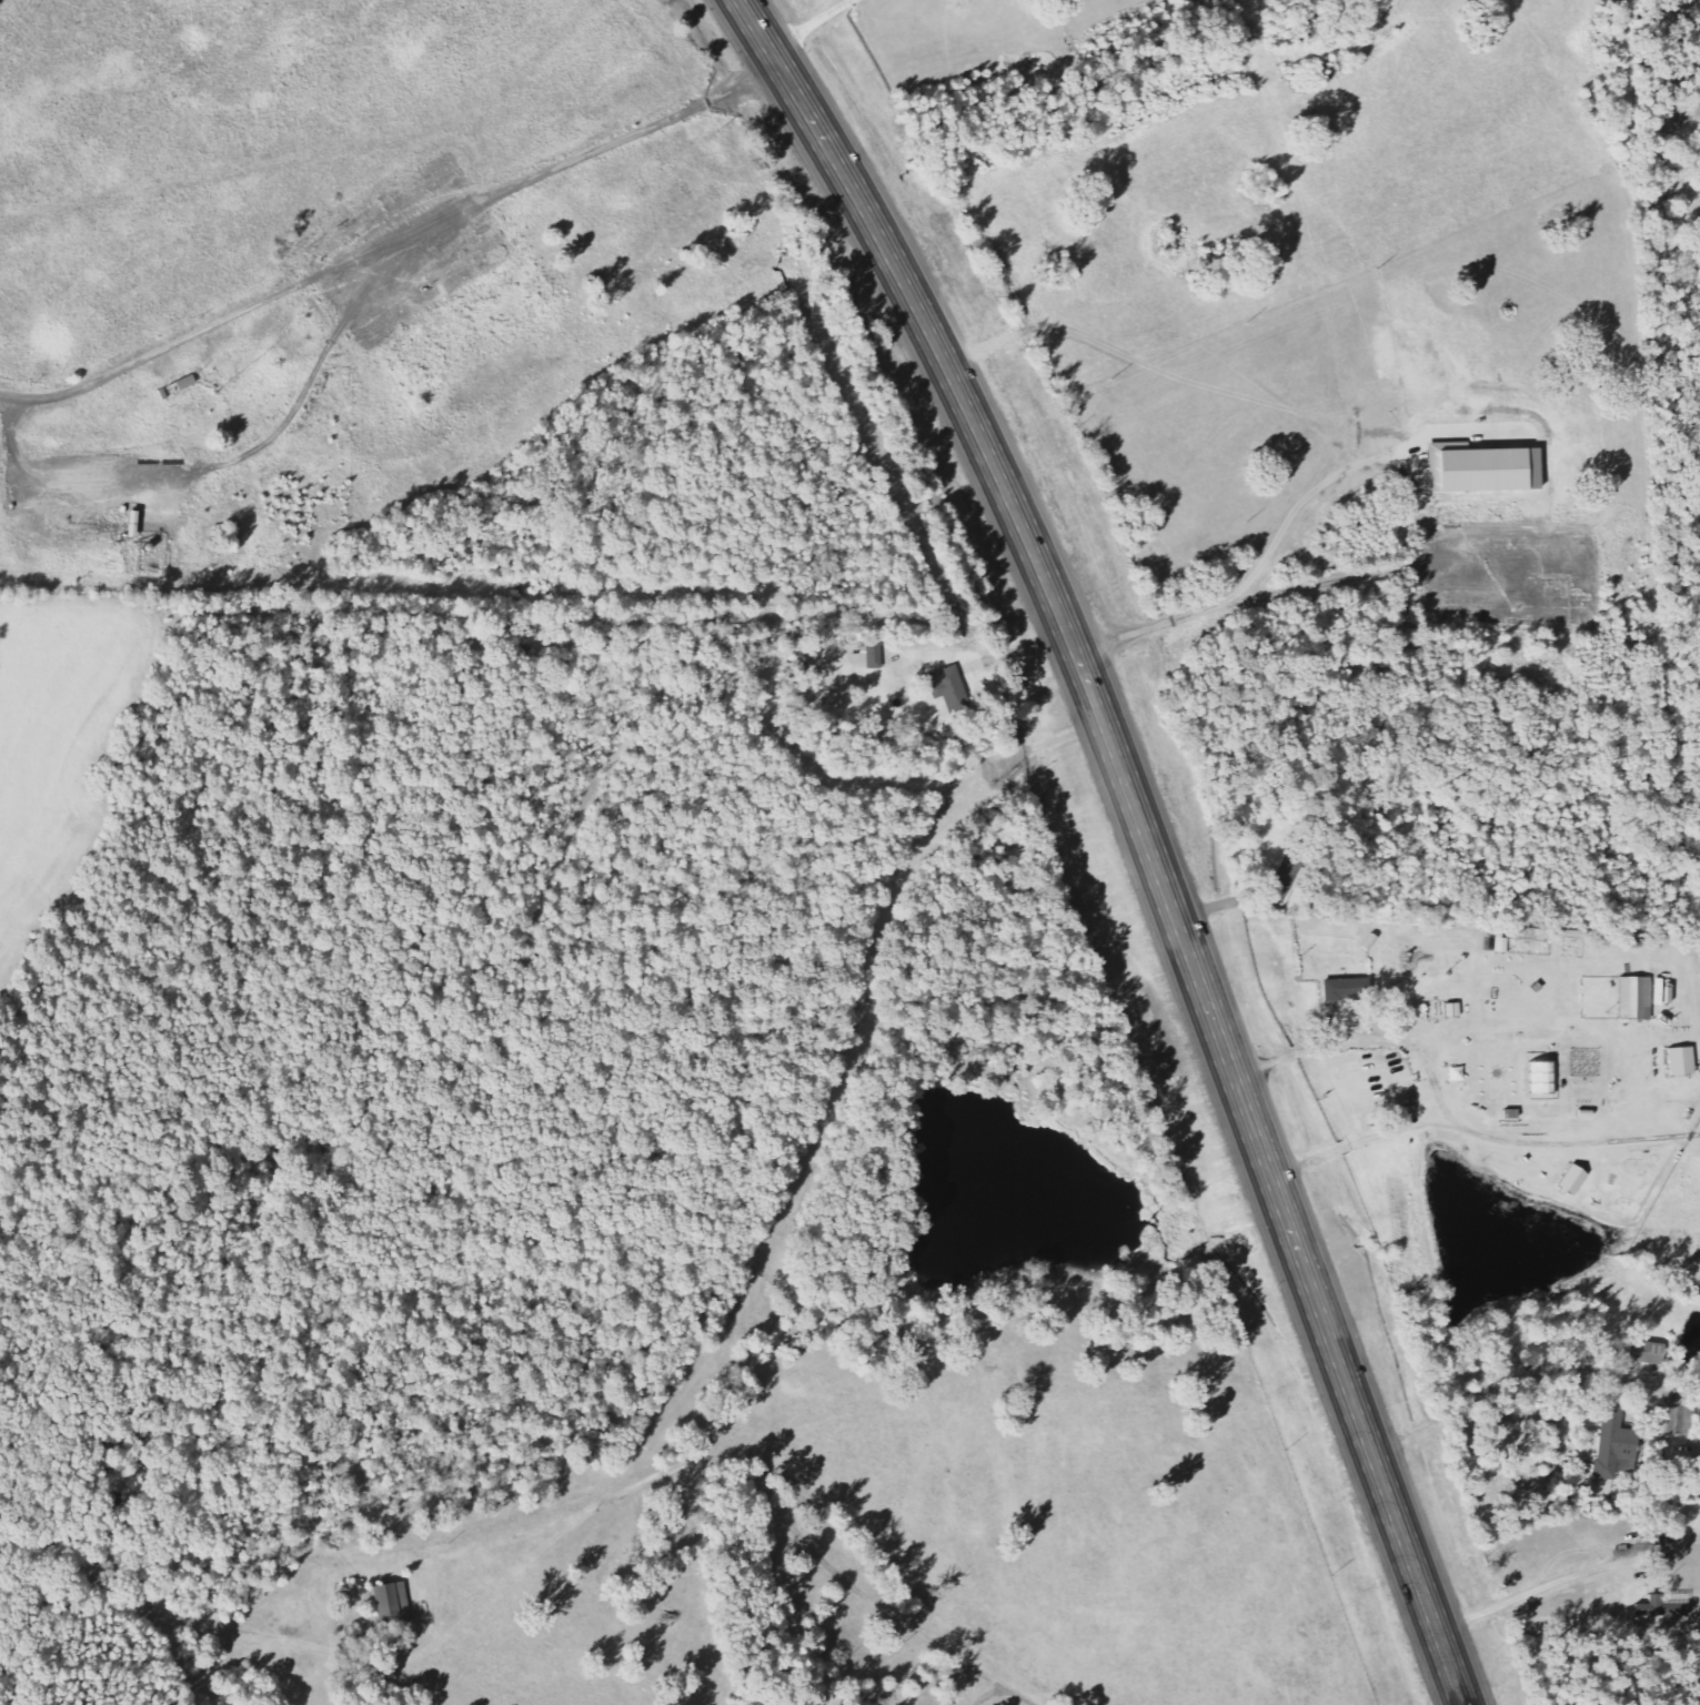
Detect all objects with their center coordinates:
building: (869, 656)
building: (950, 686)
road: (1145, 833)
building: (1287, 878)
building: (1503, 945)
building: (1349, 989)
building: (1638, 998)
building: (1683, 1061)
building: (1576, 1180)
building: (1649, 1352)
building: (394, 1604)

